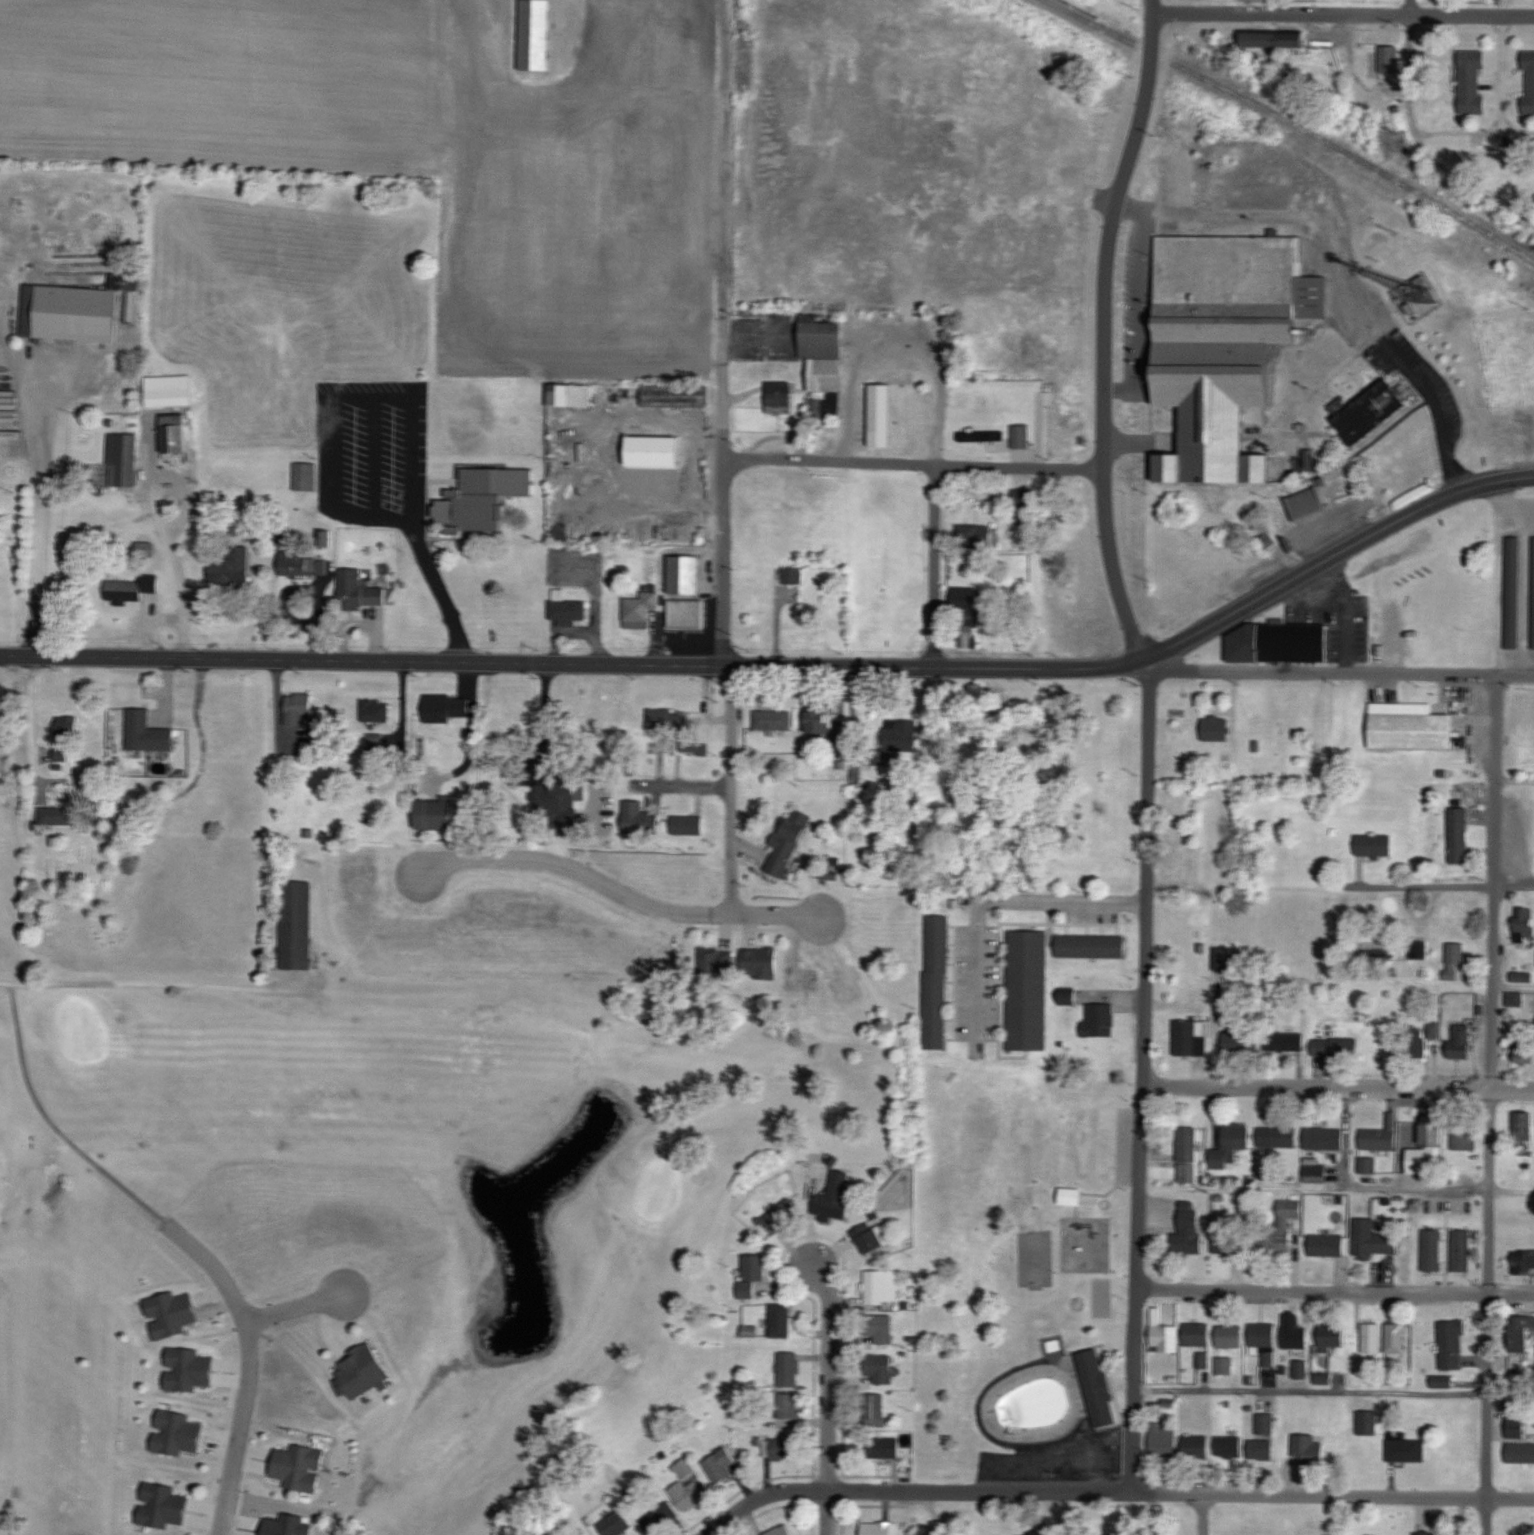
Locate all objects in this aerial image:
road: (1153, 5)
road: (1343, 13)
road: (562, 18)
railway: (1088, 21)
building: (534, 36)
building: (1273, 39)
building: (1389, 60)
road: (1408, 67)
building: (1471, 82)
building: (1528, 83)
road: (1474, 131)
railway: (1353, 159)
road: (1467, 186)
road: (1106, 234)
road: (1338, 267)
building: (74, 310)
road: (1142, 315)
road: (720, 331)
building: (1224, 343)
building: (823, 353)
road: (935, 389)
building: (569, 395)
building: (675, 396)
building: (779, 397)
building: (824, 406)
building: (1368, 411)
building: (8, 412)
building: (880, 414)
building: (1083, 420)
road: (39, 426)
building: (1020, 436)
building: (653, 451)
building: (123, 458)
road: (910, 461)
building: (306, 476)
building: (481, 498)
road: (656, 501)
building: (1305, 503)
building: (975, 536)
building: (144, 549)
road: (1330, 556)
road: (937, 563)
building: (1097, 564)
building: (301, 565)
building: (231, 567)
building: (683, 574)
building: (793, 575)
road: (1500, 576)
road: (438, 585)
building: (131, 589)
building: (359, 590)
building: (1513, 592)
building: (1533, 594)
building: (1101, 601)
building: (640, 606)
building: (566, 607)
building: (966, 607)
building: (685, 613)
building: (797, 625)
building: (1091, 634)
building: (1277, 642)
road: (569, 661)
road: (1336, 672)
building: (445, 707)
building: (299, 708)
building: (375, 710)
building: (818, 718)
building: (667, 720)
building: (772, 720)
road: (730, 721)
building: (1409, 726)
building: (67, 727)
building: (1216, 727)
building: (146, 732)
building: (898, 740)
building: (661, 746)
building: (694, 748)
road: (683, 782)
building: (560, 803)
building: (435, 814)
building: (57, 816)
building: (640, 819)
building: (687, 825)
building: (1458, 835)
building: (787, 841)
building: (1374, 845)
road: (731, 847)
building: (1181, 857)
road: (1446, 883)
road: (616, 889)
road: (988, 905)
building: (296, 924)
building: (1524, 924)
building: (1090, 946)
building: (1419, 949)
building: (1454, 961)
building: (716, 962)
building: (760, 963)
road: (1142, 976)
building: (1522, 976)
building: (936, 982)
road: (152, 985)
road: (1513, 988)
building: (1027, 990)
building: (1067, 996)
building: (1514, 999)
building: (1098, 1020)
building: (1434, 1029)
building: (1189, 1035)
building: (1285, 1041)
building: (1240, 1042)
building: (1417, 1042)
building: (1460, 1042)
building: (1336, 1045)
building: (1523, 1053)
road: (1336, 1087)
road: (1492, 1104)
building: (1524, 1125)
building: (1431, 1133)
building: (1276, 1136)
building: (1463, 1136)
building: (1323, 1137)
building: (1377, 1138)
park: (363, 1143)
building: (1230, 1145)
building: (1187, 1153)
building: (1314, 1173)
road: (1336, 1187)
building: (1070, 1196)
building: (833, 1202)
building: (781, 1216)
building: (1281, 1226)
building: (1188, 1228)
building: (868, 1238)
building: (1226, 1238)
building: (1373, 1240)
building: (1326, 1244)
building: (1431, 1250)
building: (1461, 1250)
park: (1035, 1256)
building: (1523, 1262)
building: (752, 1272)
park: (1019, 1272)
building: (881, 1286)
road: (1335, 1290)
road: (296, 1306)
building: (170, 1314)
building: (782, 1322)
building: (879, 1329)
building: (1520, 1331)
building: (1196, 1334)
building: (1262, 1334)
building: (1229, 1335)
building: (1295, 1335)
building: (1331, 1335)
building: (1371, 1337)
building: (1395, 1337)
building: (1165, 1338)
building: (1452, 1344)
building: (1269, 1358)
road: (249, 1364)
building: (1224, 1365)
building: (880, 1368)
building: (1301, 1368)
building: (187, 1370)
building: (362, 1370)
building: (789, 1370)
road: (828, 1373)
building: (1442, 1381)
building: (1097, 1387)
road: (1334, 1391)
building: (1029, 1405)
building: (788, 1410)
building: (874, 1410)
building: (1367, 1422)
building: (1515, 1426)
building: (177, 1434)
building: (1263, 1436)
building: (1162, 1439)
building: (1195, 1446)
building: (1228, 1446)
building: (883, 1447)
building: (1308, 1447)
building: (1405, 1447)
building: (784, 1449)
building: (1520, 1452)
building: (721, 1464)
building: (298, 1467)
road: (1113, 1492)
building: (685, 1495)
building: (162, 1506)
road: (829, 1512)
road: (1198, 1515)
building: (664, 1516)
building: (615, 1523)
building: (876, 1528)
building: (774, 1531)
building: (1426, 1533)
building: (790, 1534)
building: (1121, 1534)

